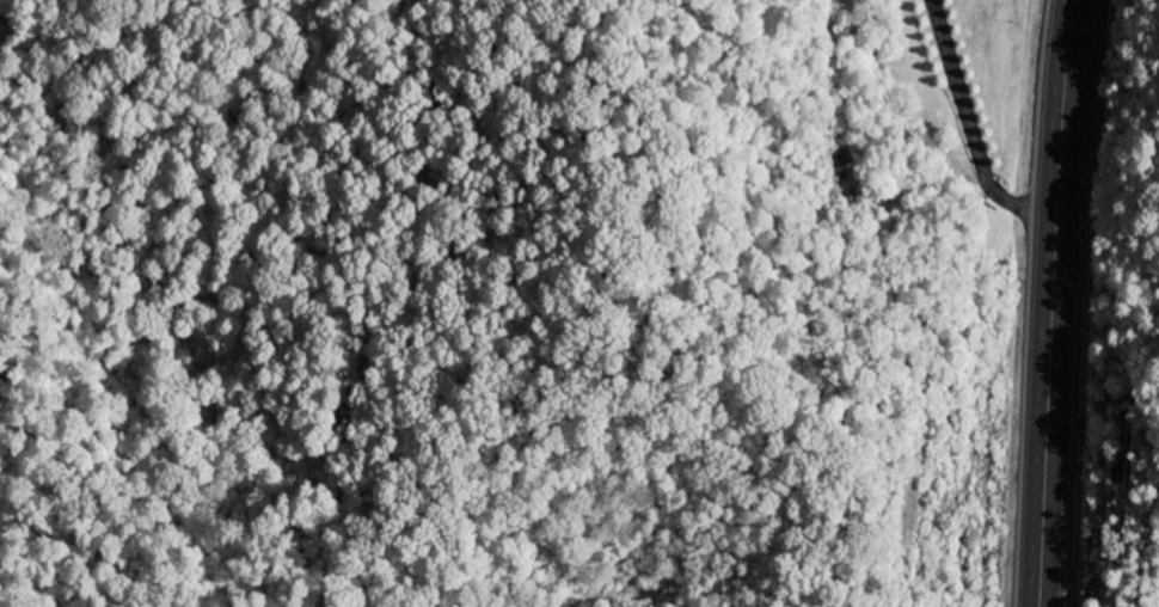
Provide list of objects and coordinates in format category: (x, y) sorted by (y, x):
road: (970, 128)
road: (1053, 302)

